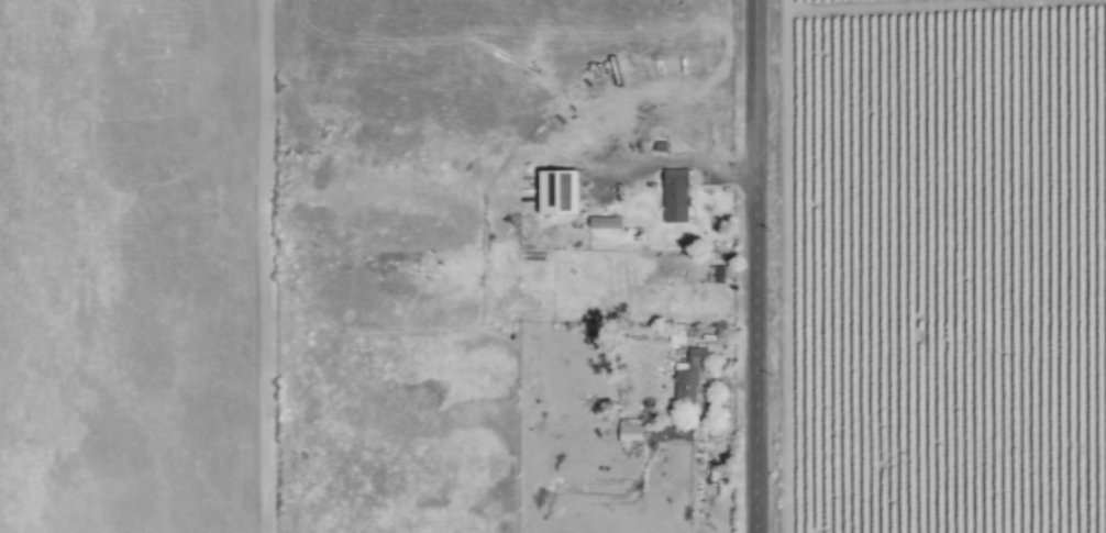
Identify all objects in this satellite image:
building: (678, 200)
building: (608, 223)
road: (757, 266)
crop: (947, 266)
building: (690, 377)
building: (632, 432)

